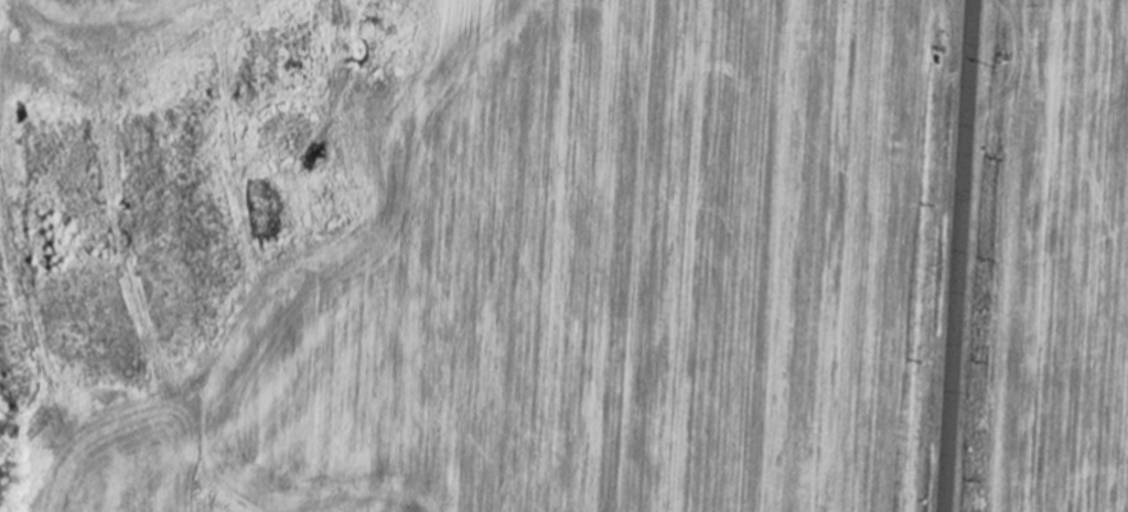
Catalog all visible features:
road: (959, 255)
crop: (1051, 263)
crop: (557, 269)

